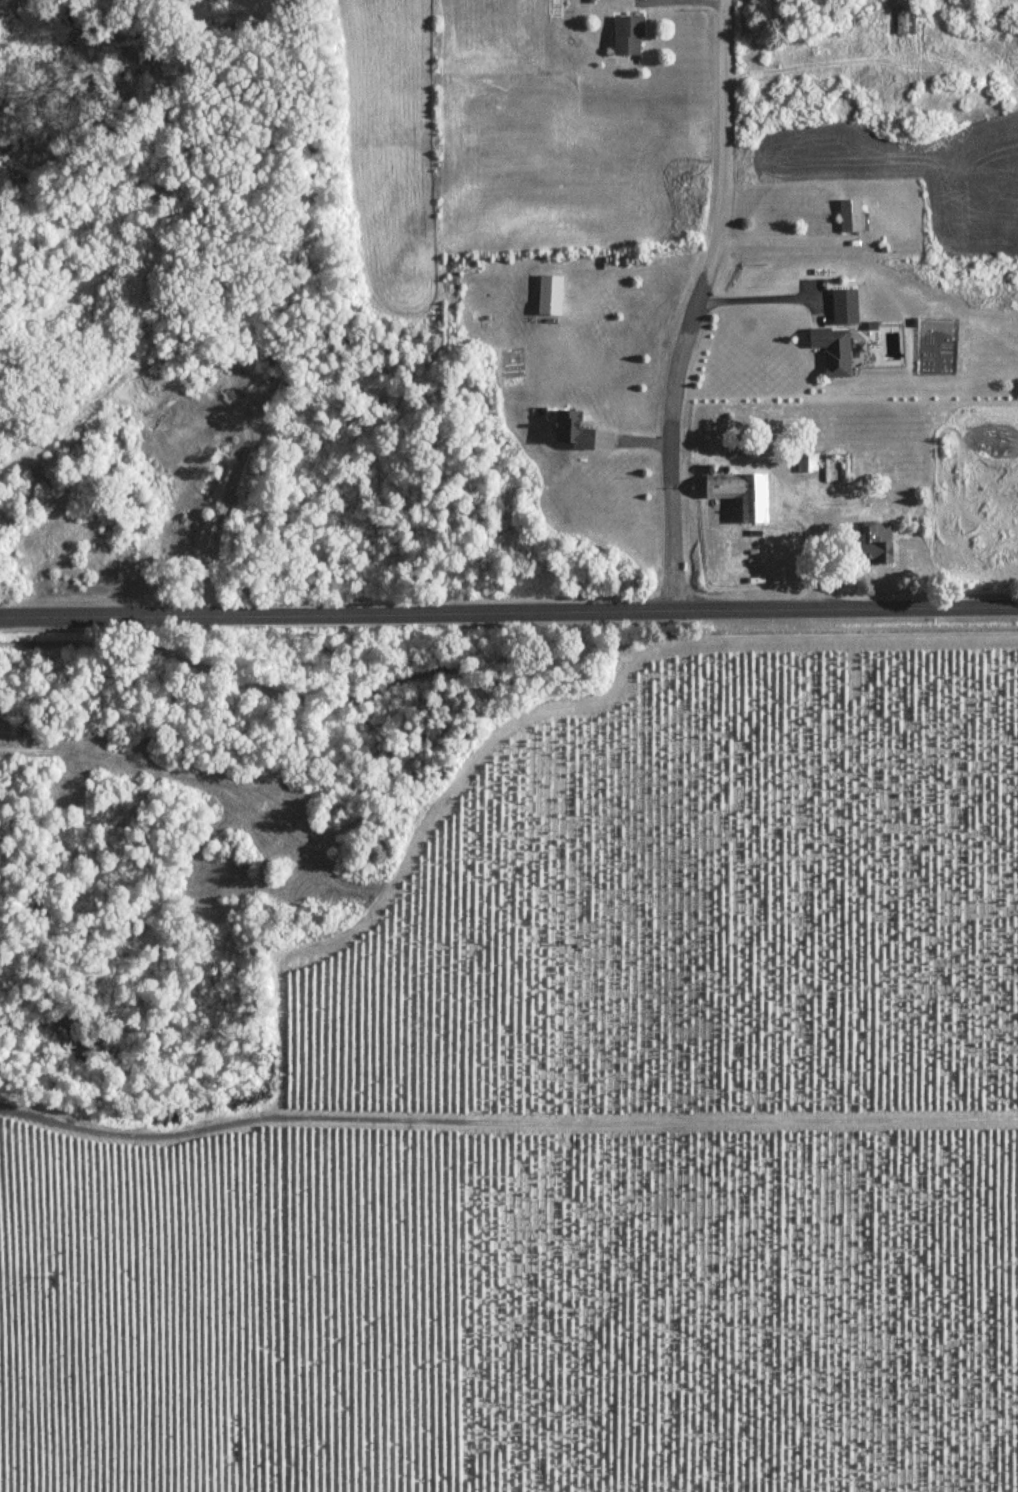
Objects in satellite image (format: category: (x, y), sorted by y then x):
road: (719, 1)
building: (907, 18)
building: (627, 34)
building: (849, 215)
road: (784, 238)
building: (549, 294)
road: (755, 295)
road: (695, 303)
building: (832, 350)
building: (573, 431)
building: (807, 461)
quarry: (147, 480)
building: (740, 494)
road: (224, 500)
building: (871, 546)
road: (508, 610)

